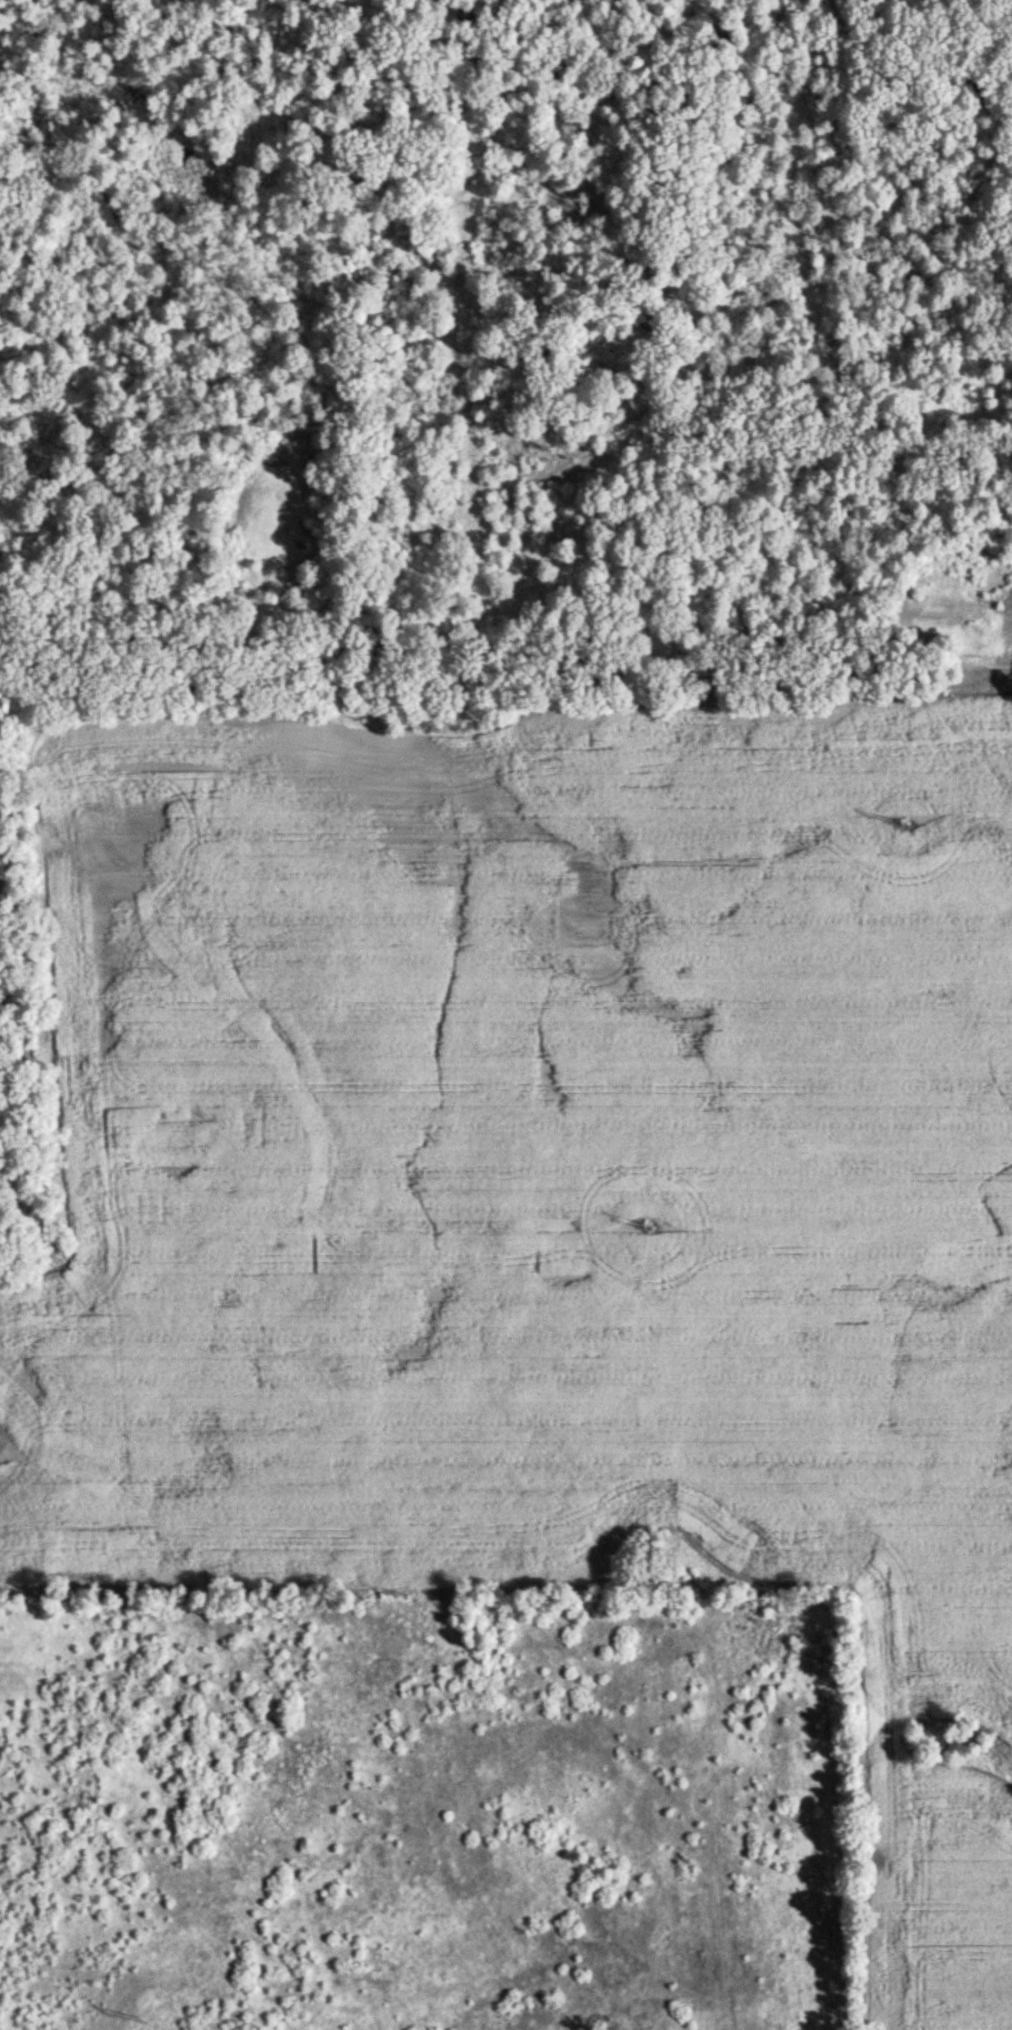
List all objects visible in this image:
power tower: (905, 825)
crop: (549, 1197)
power tower: (649, 1233)
power tower: (420, 1601)
building: (654, 1645)
building: (502, 1789)
building: (452, 1809)
building: (472, 1817)
building: (413, 1854)
building: (468, 1857)
power tower: (147, 2026)

